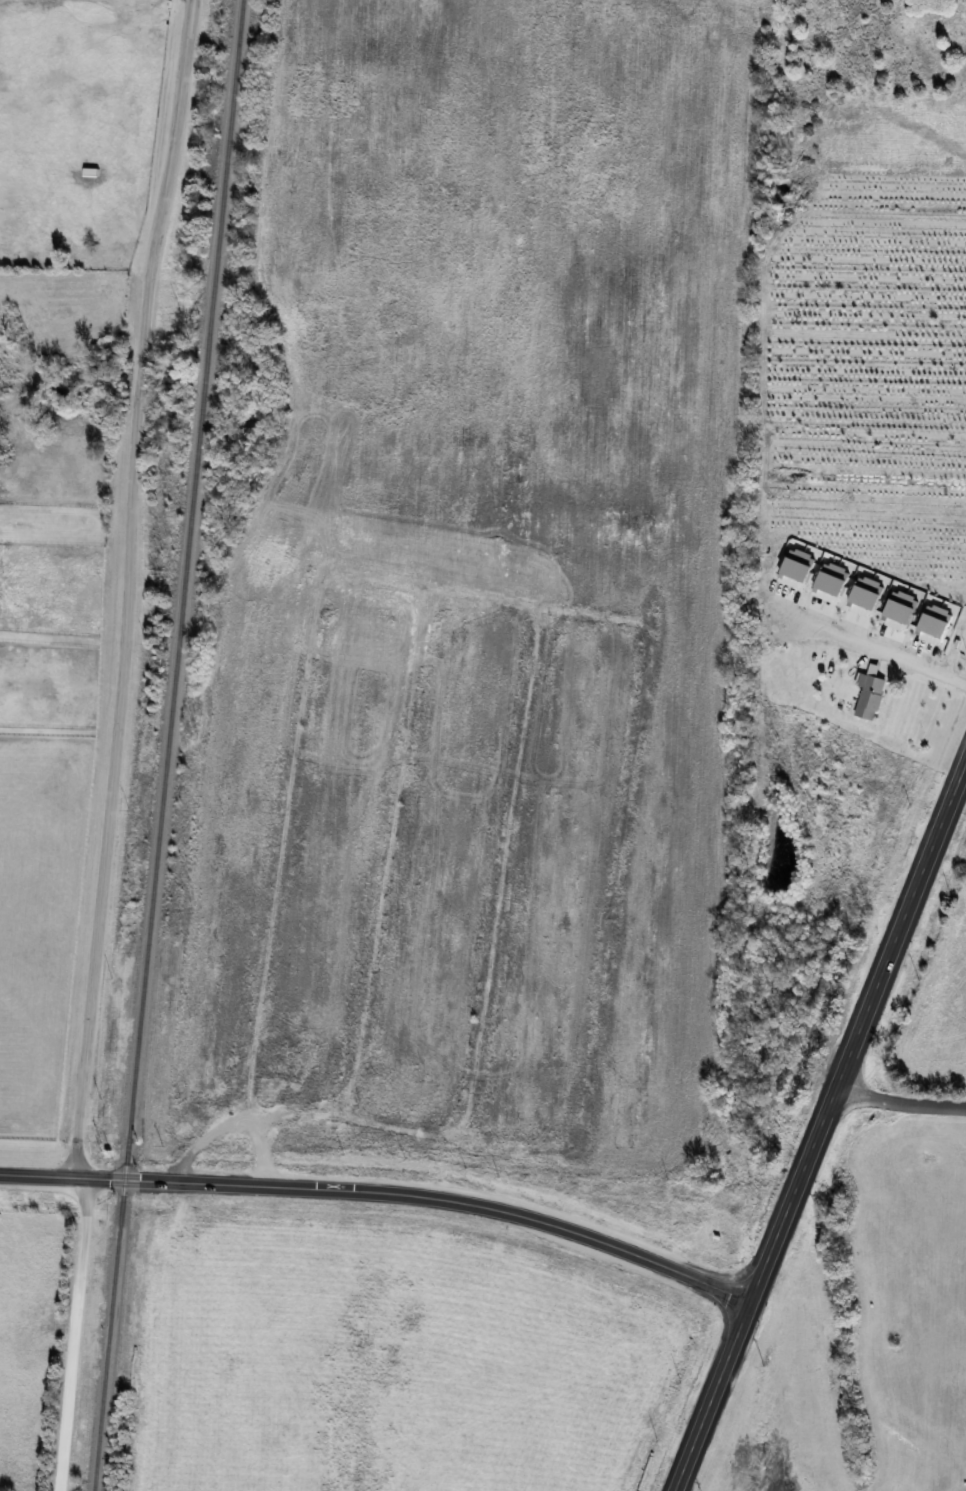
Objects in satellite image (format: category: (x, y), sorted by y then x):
road: (158, 210)
road: (879, 648)
building: (871, 697)
railway: (166, 745)
road: (898, 920)
road: (94, 957)
road: (900, 1103)
road: (233, 1123)
road: (794, 1192)
road: (383, 1193)
road: (712, 1394)

